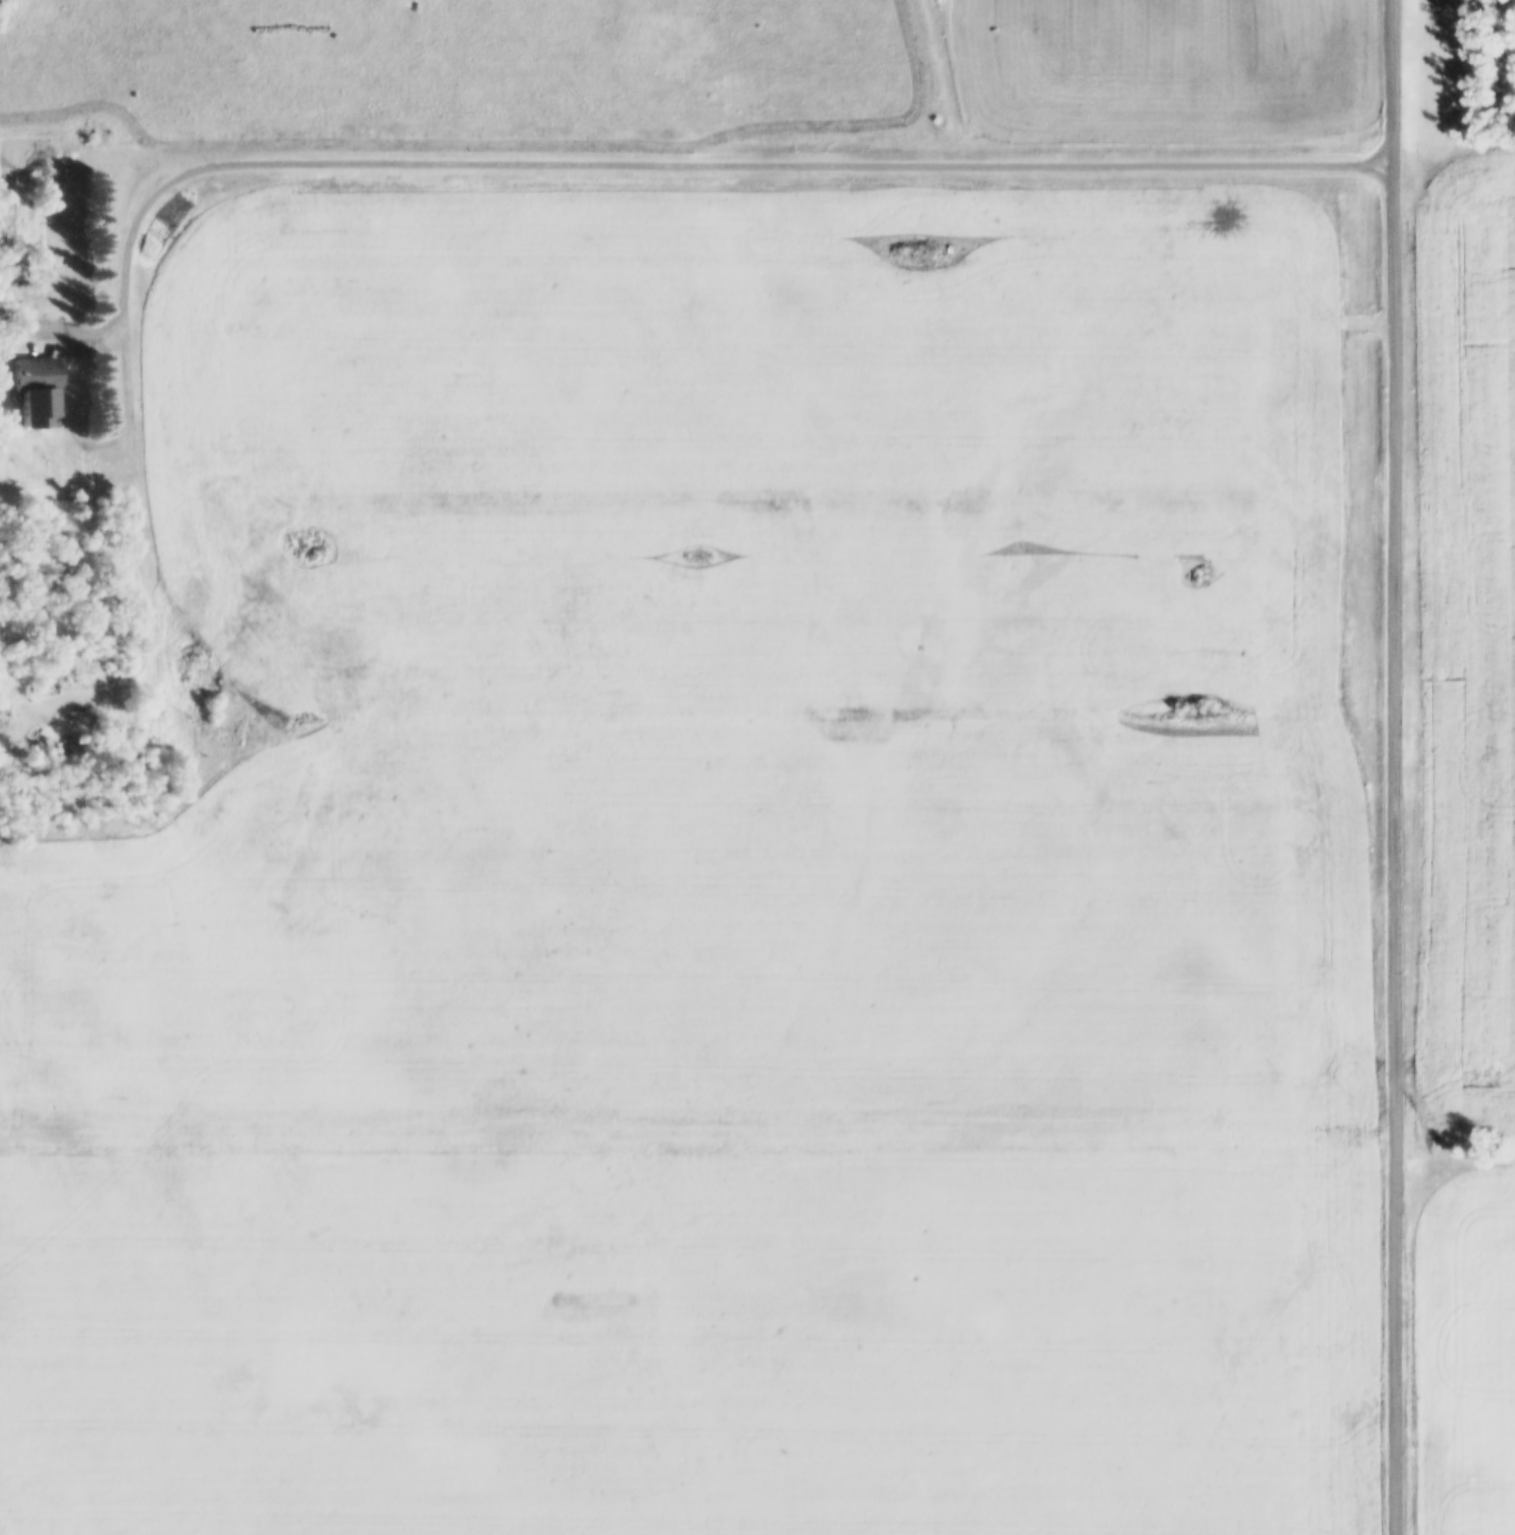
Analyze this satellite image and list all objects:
building: (37, 391)
road: (1394, 767)

